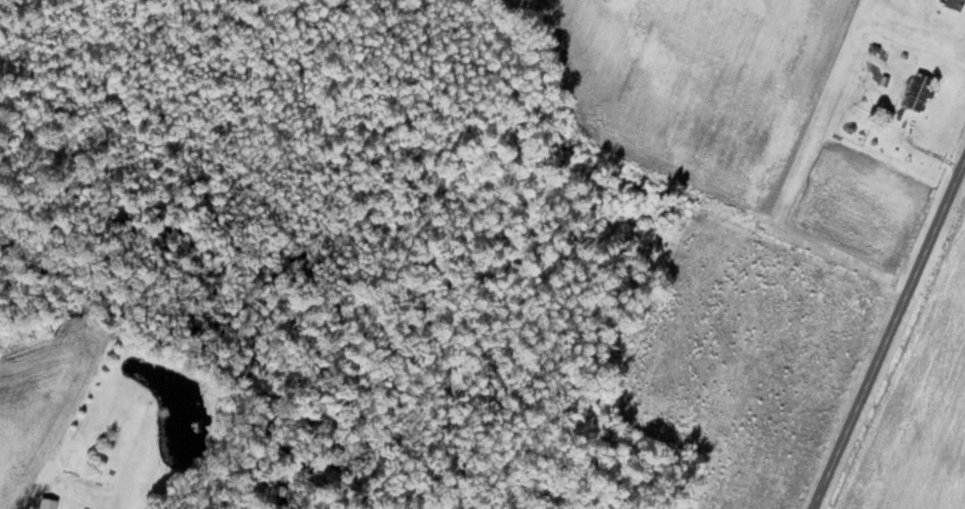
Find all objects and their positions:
building: (956, 4)
building: (920, 90)
road: (890, 330)

